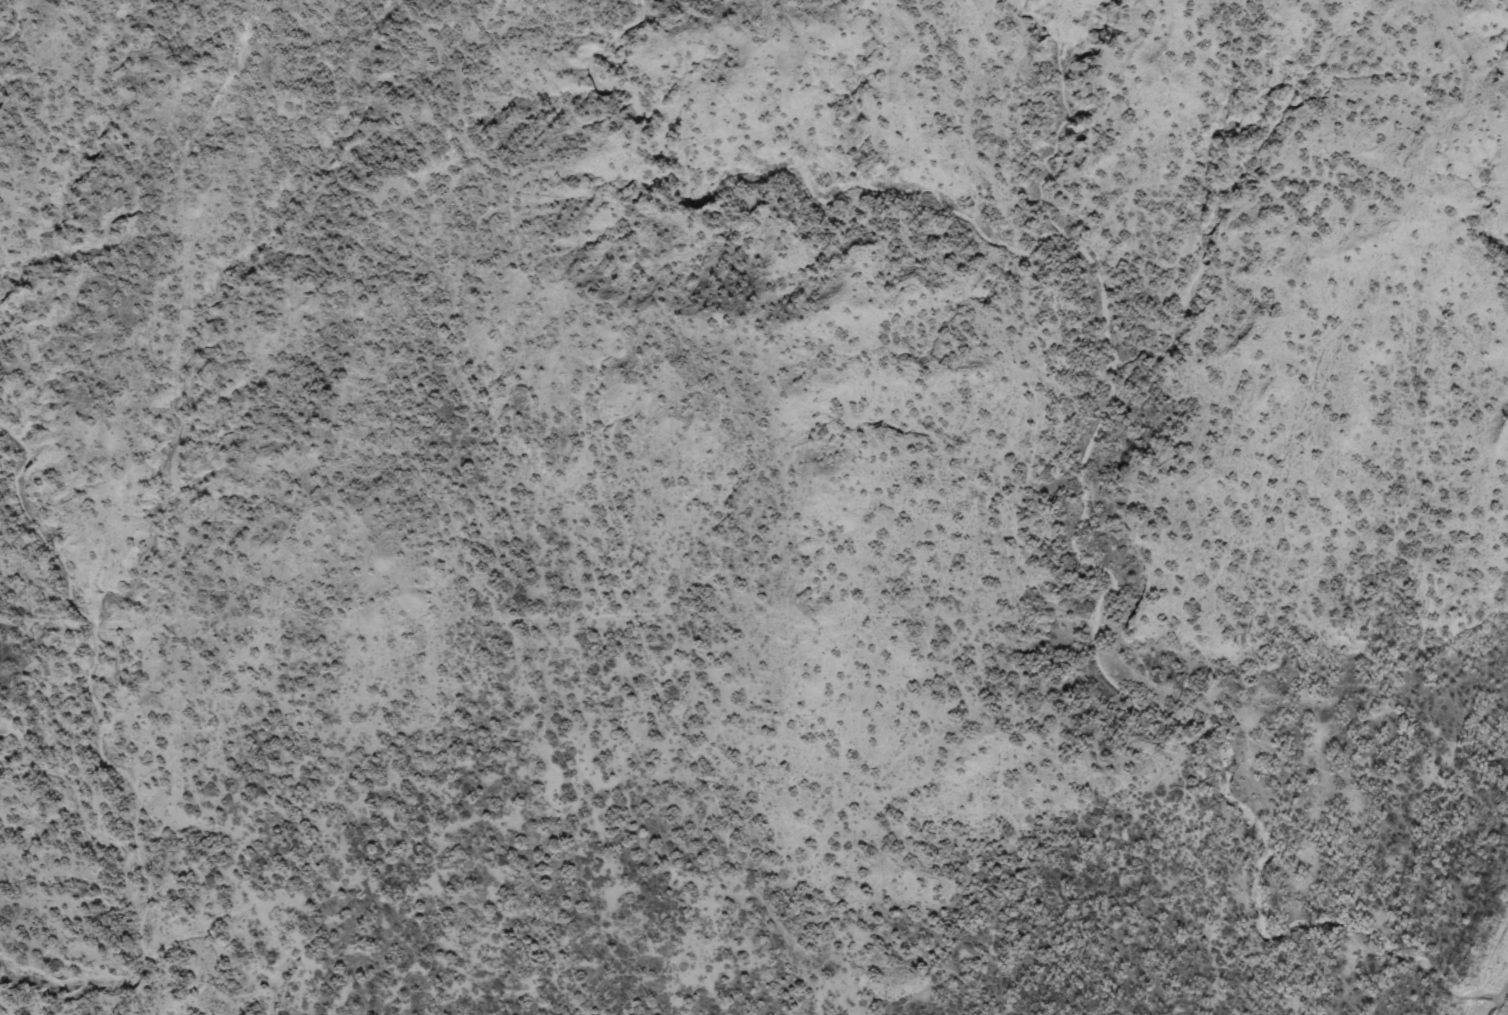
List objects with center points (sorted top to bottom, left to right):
river: (1484, 970)

